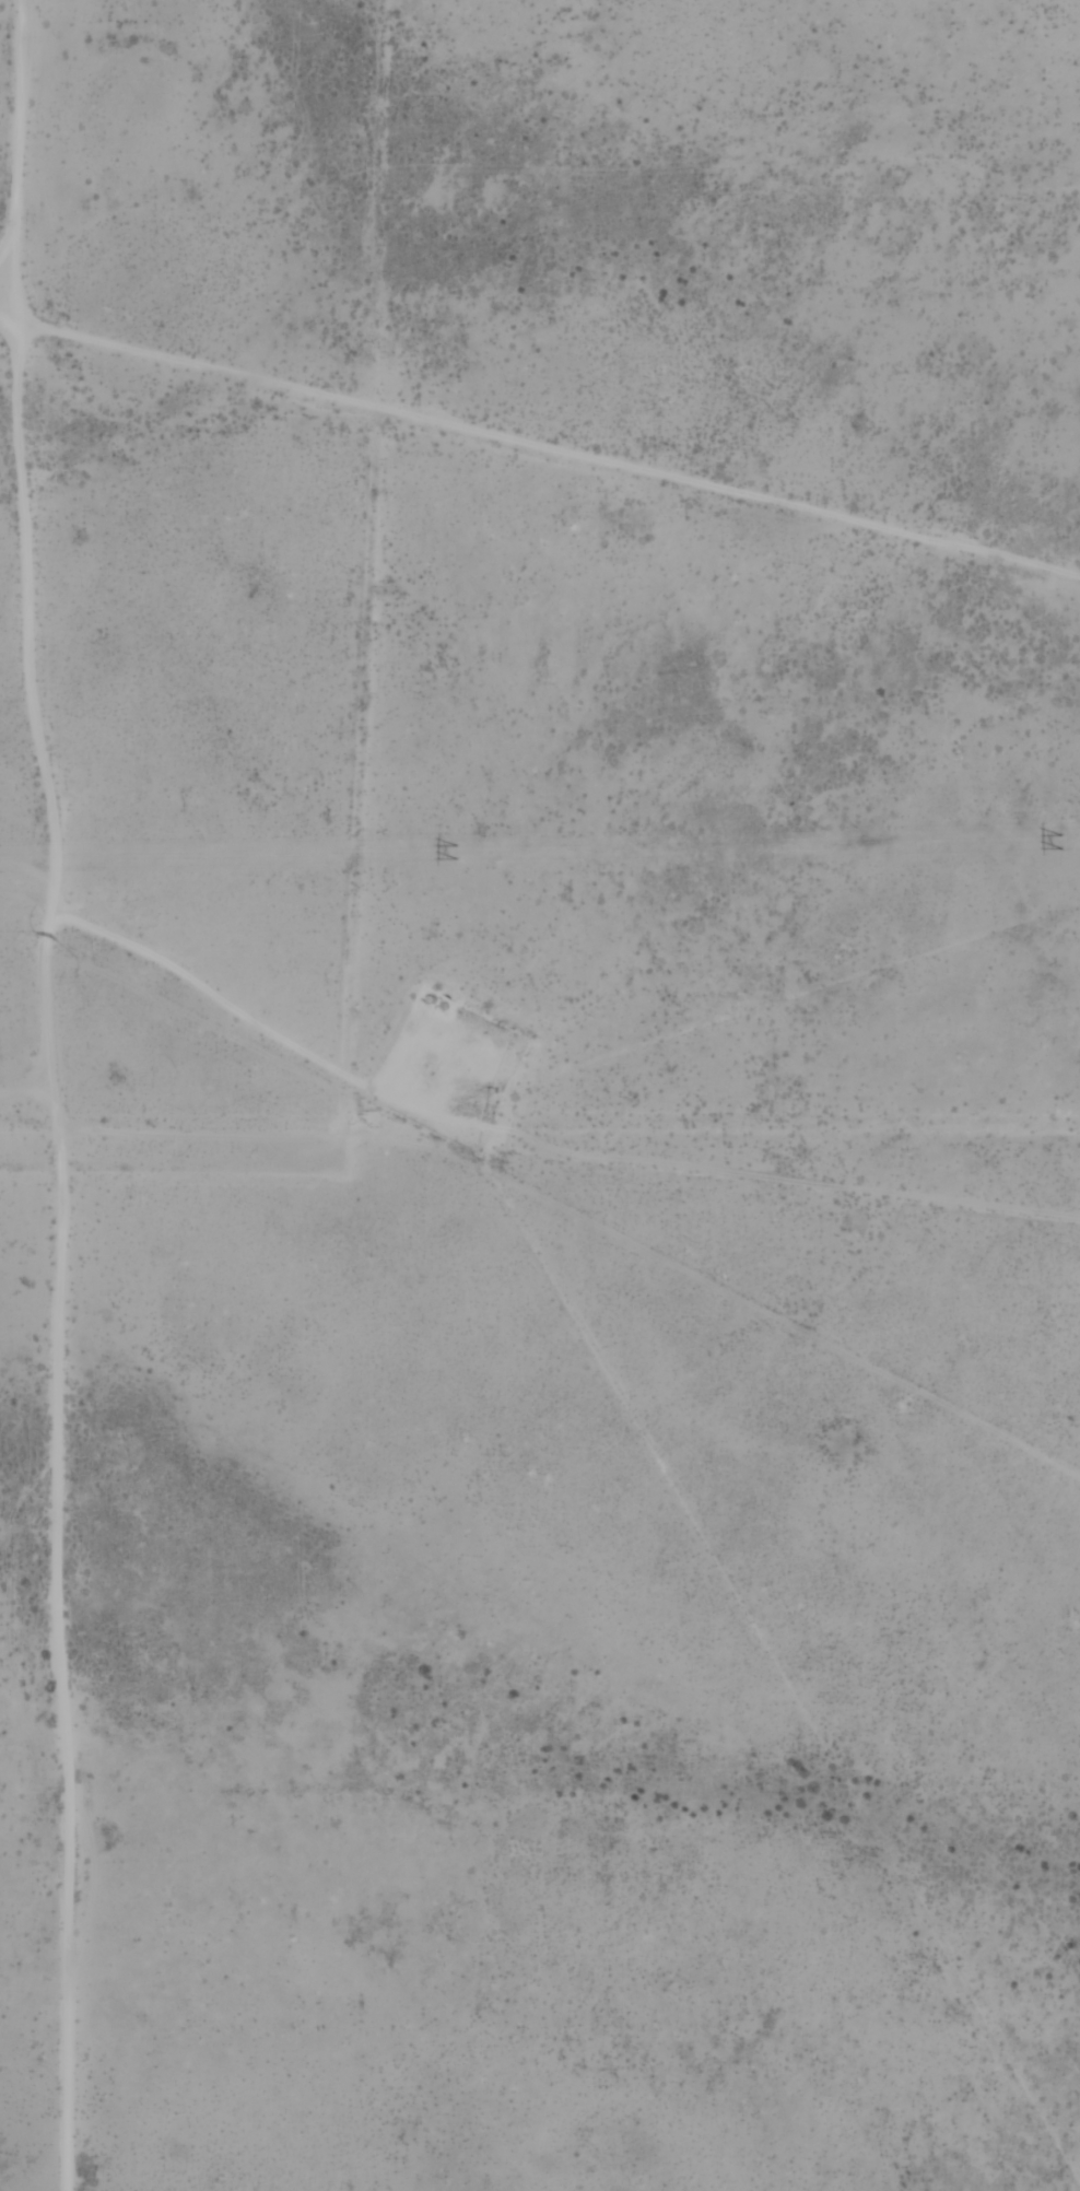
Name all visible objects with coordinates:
road: (19, 125)
road: (540, 446)
power tower: (1058, 840)
power tower: (453, 852)
road: (274, 1022)
road: (22, 1086)
road: (61, 1252)

